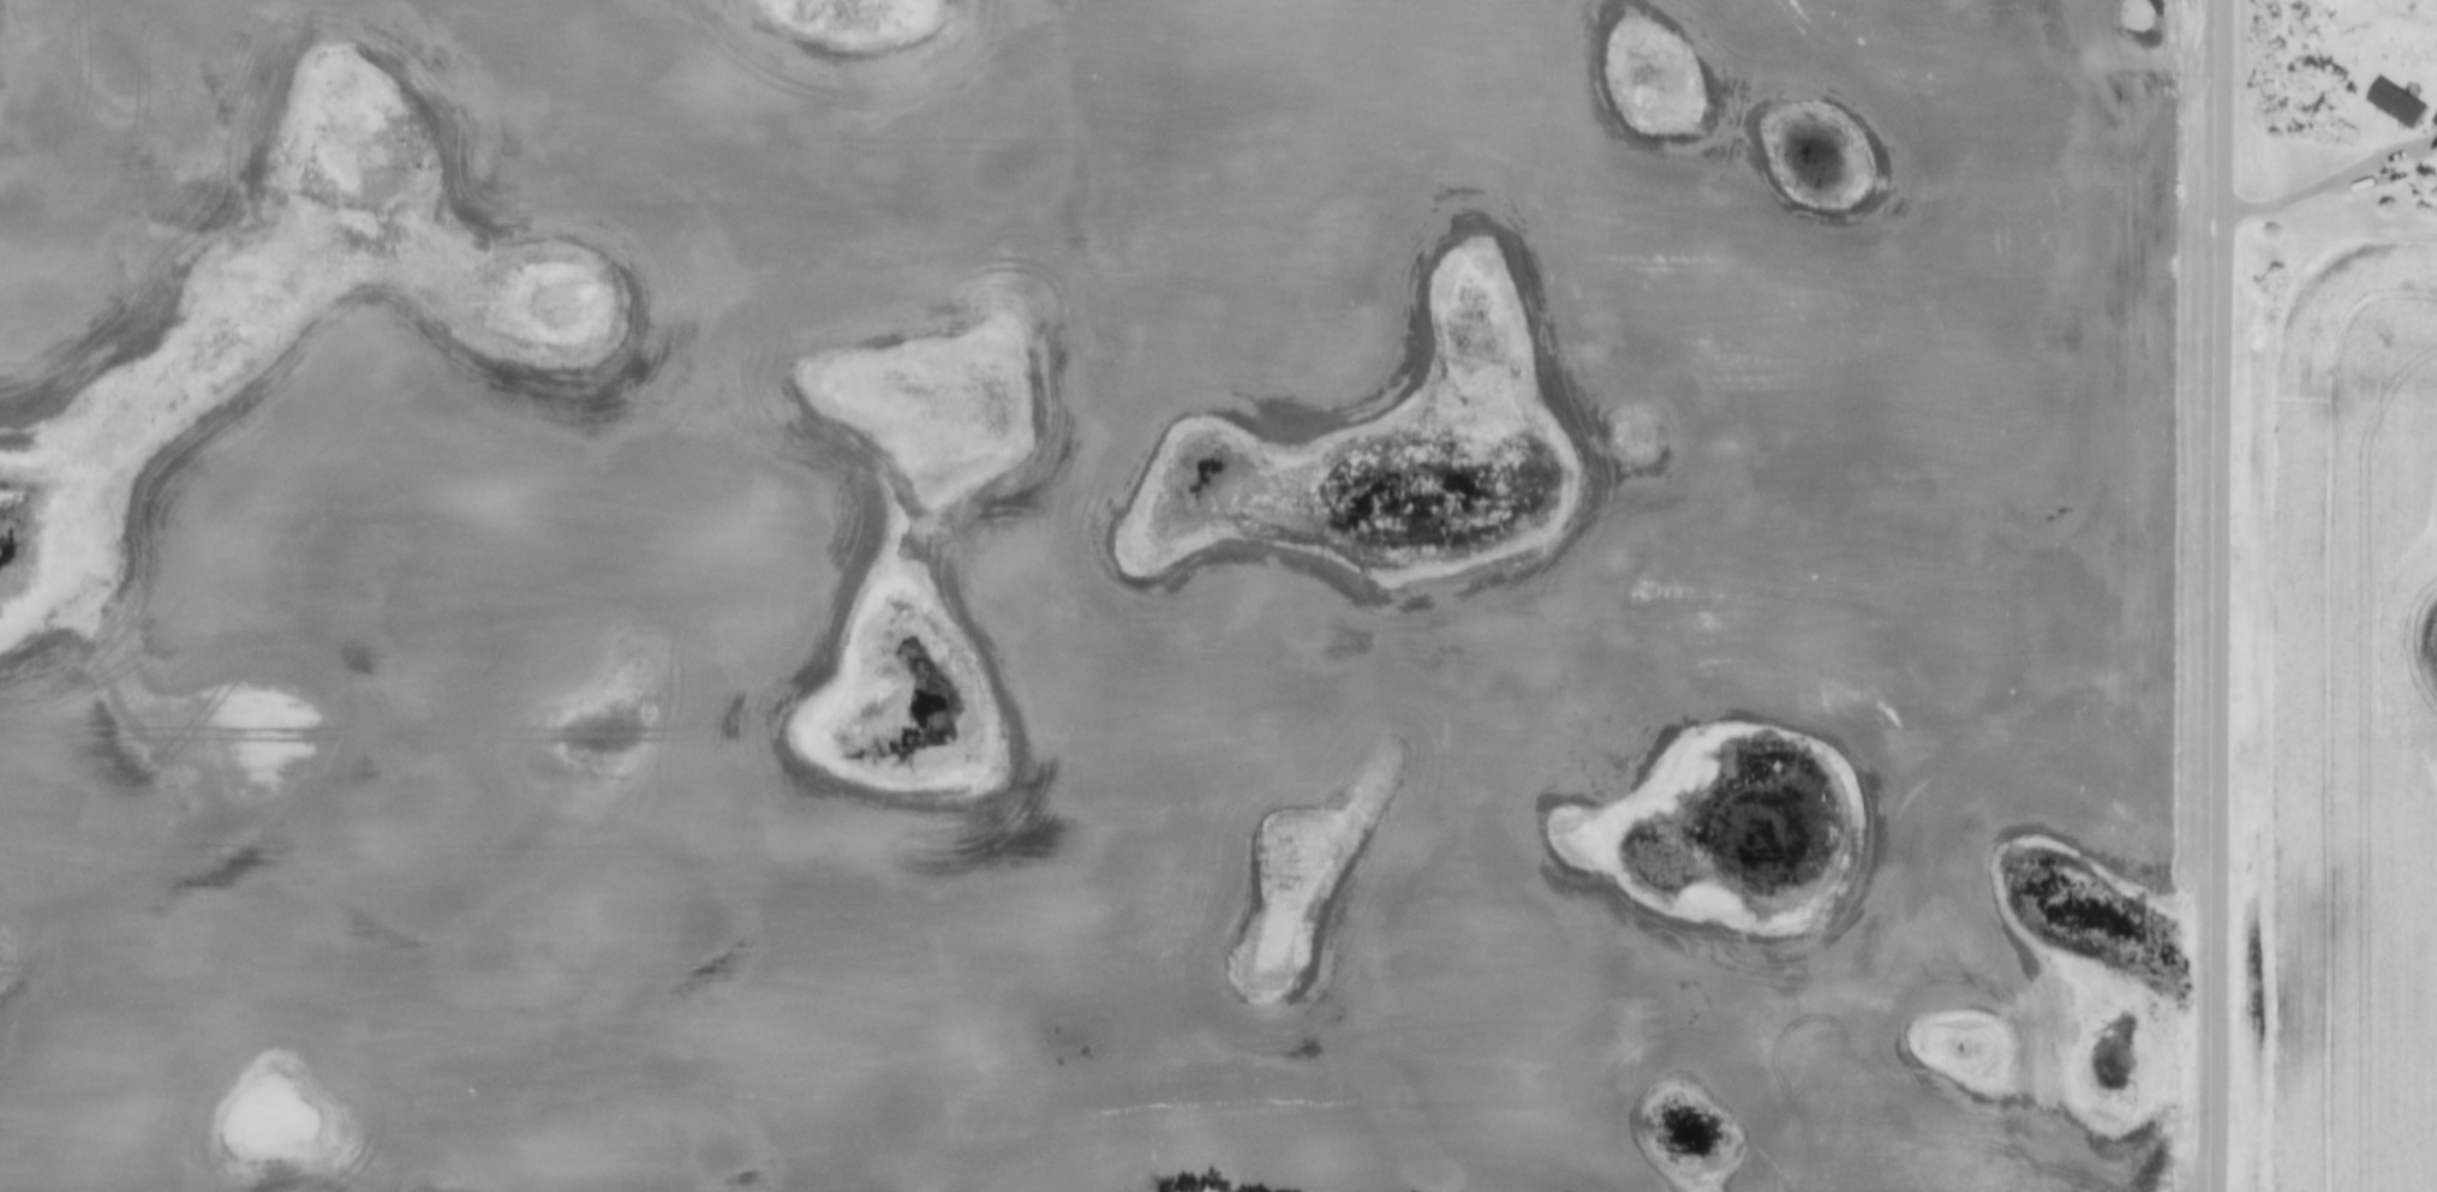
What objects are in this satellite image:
building: (2400, 104)
building: (2436, 121)
road: (2335, 178)
road: (2227, 595)

